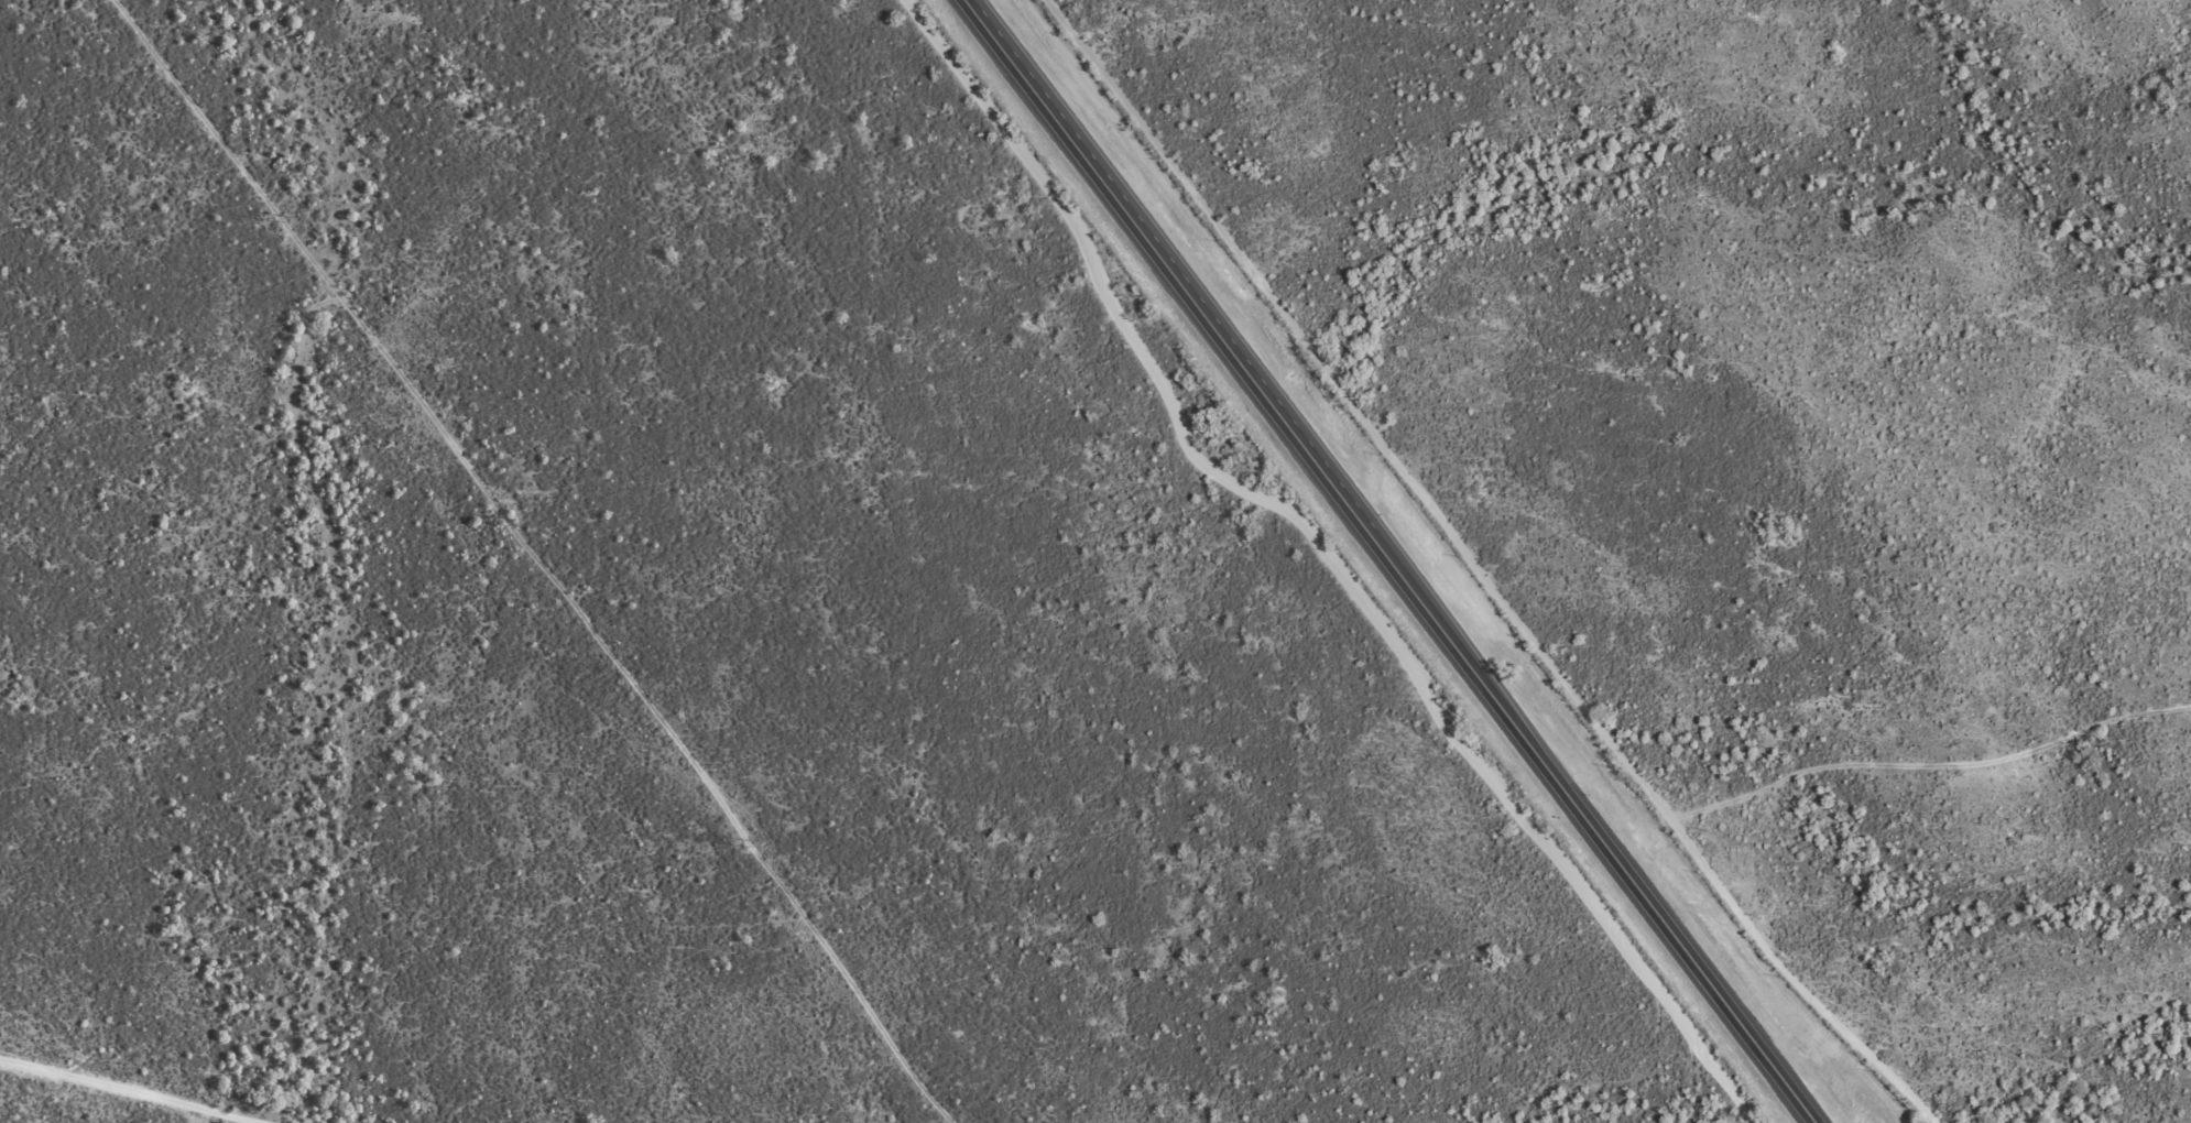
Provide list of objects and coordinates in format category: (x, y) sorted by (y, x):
power tower: (282, 220)
power tower: (509, 524)
road: (1395, 560)
road: (1897, 766)
power tower: (750, 847)
road: (139, 1086)

